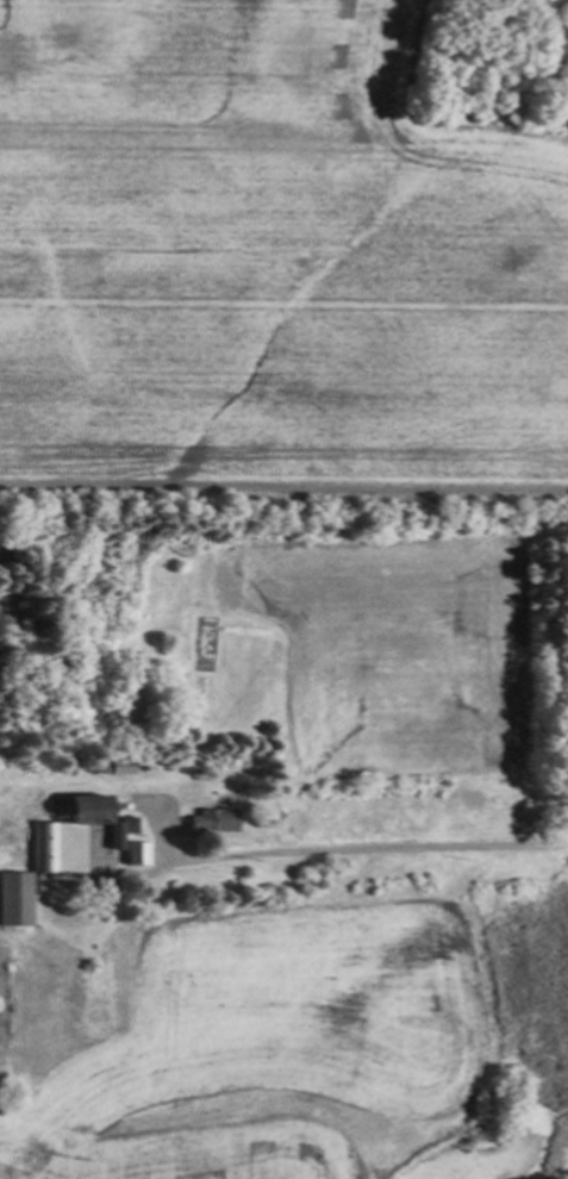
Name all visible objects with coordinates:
building: (212, 819)
building: (118, 831)
building: (64, 832)
road: (380, 846)
building: (136, 853)
building: (14, 898)

